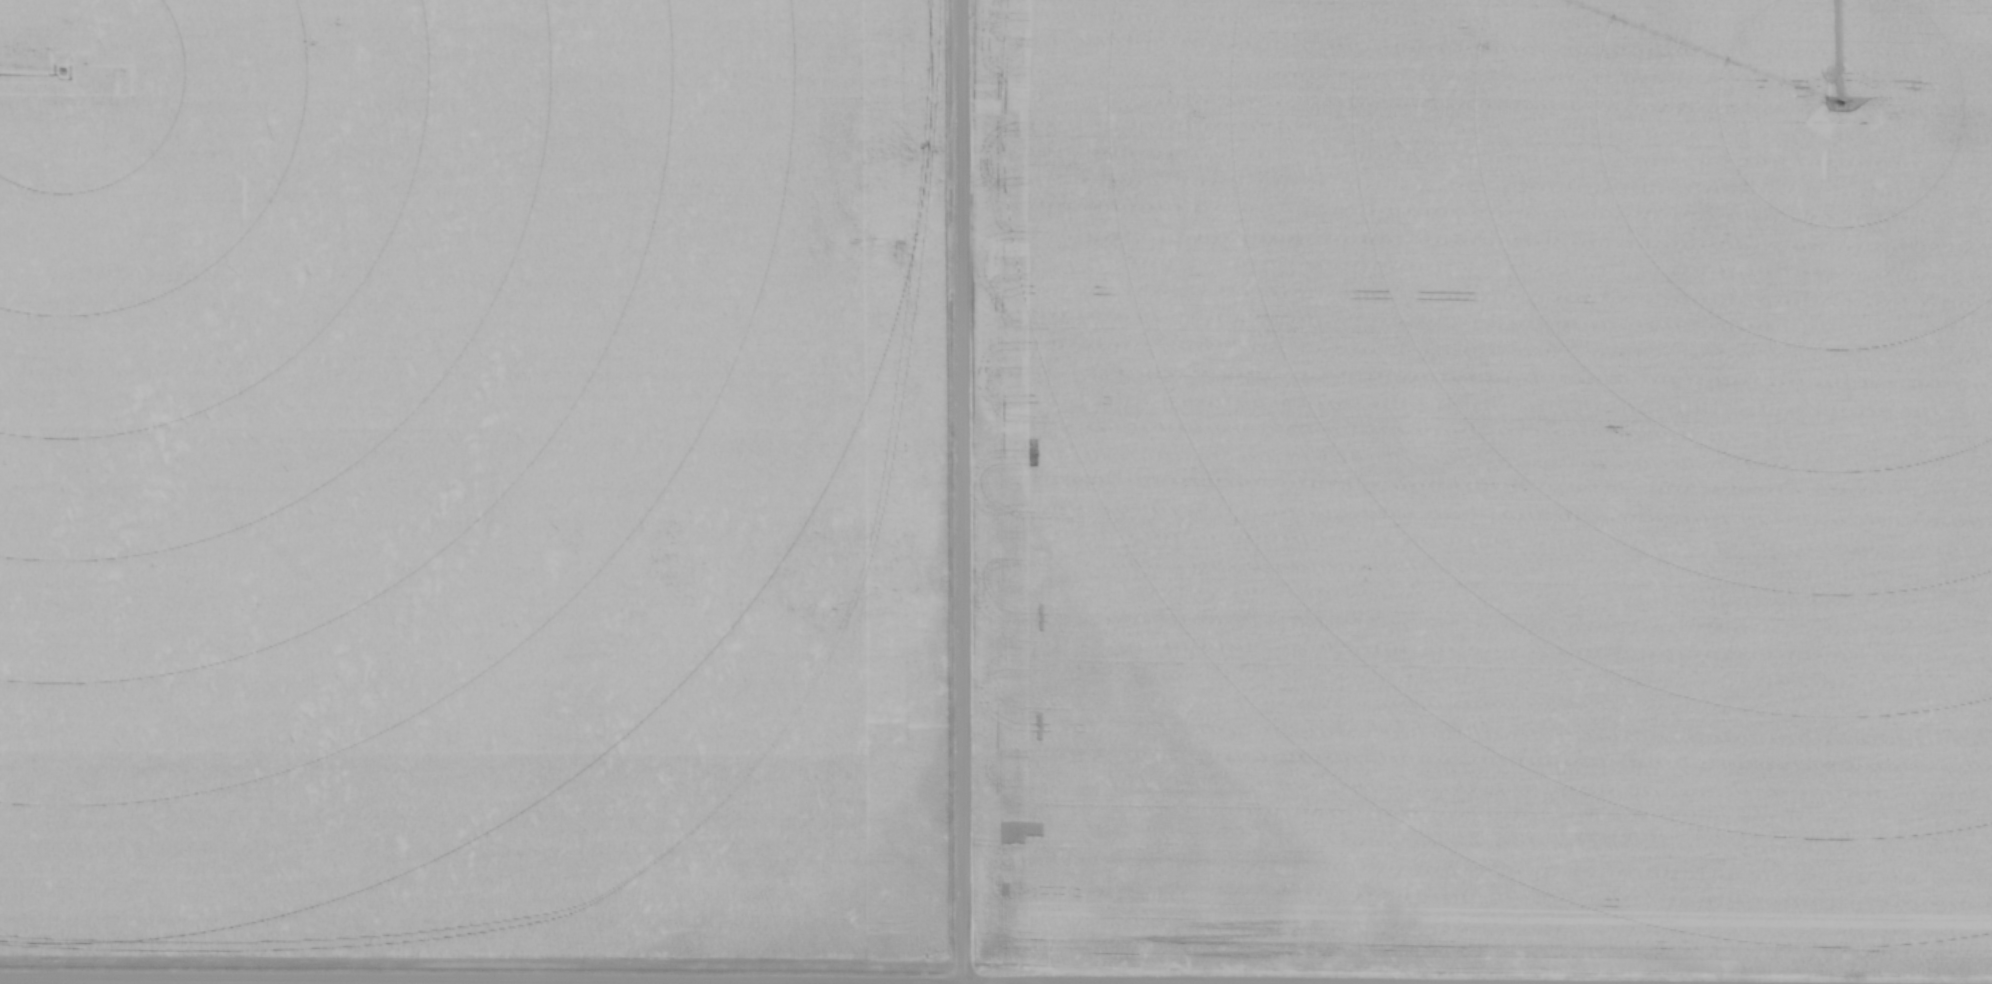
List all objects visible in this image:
road: (963, 492)
road: (243, 982)

